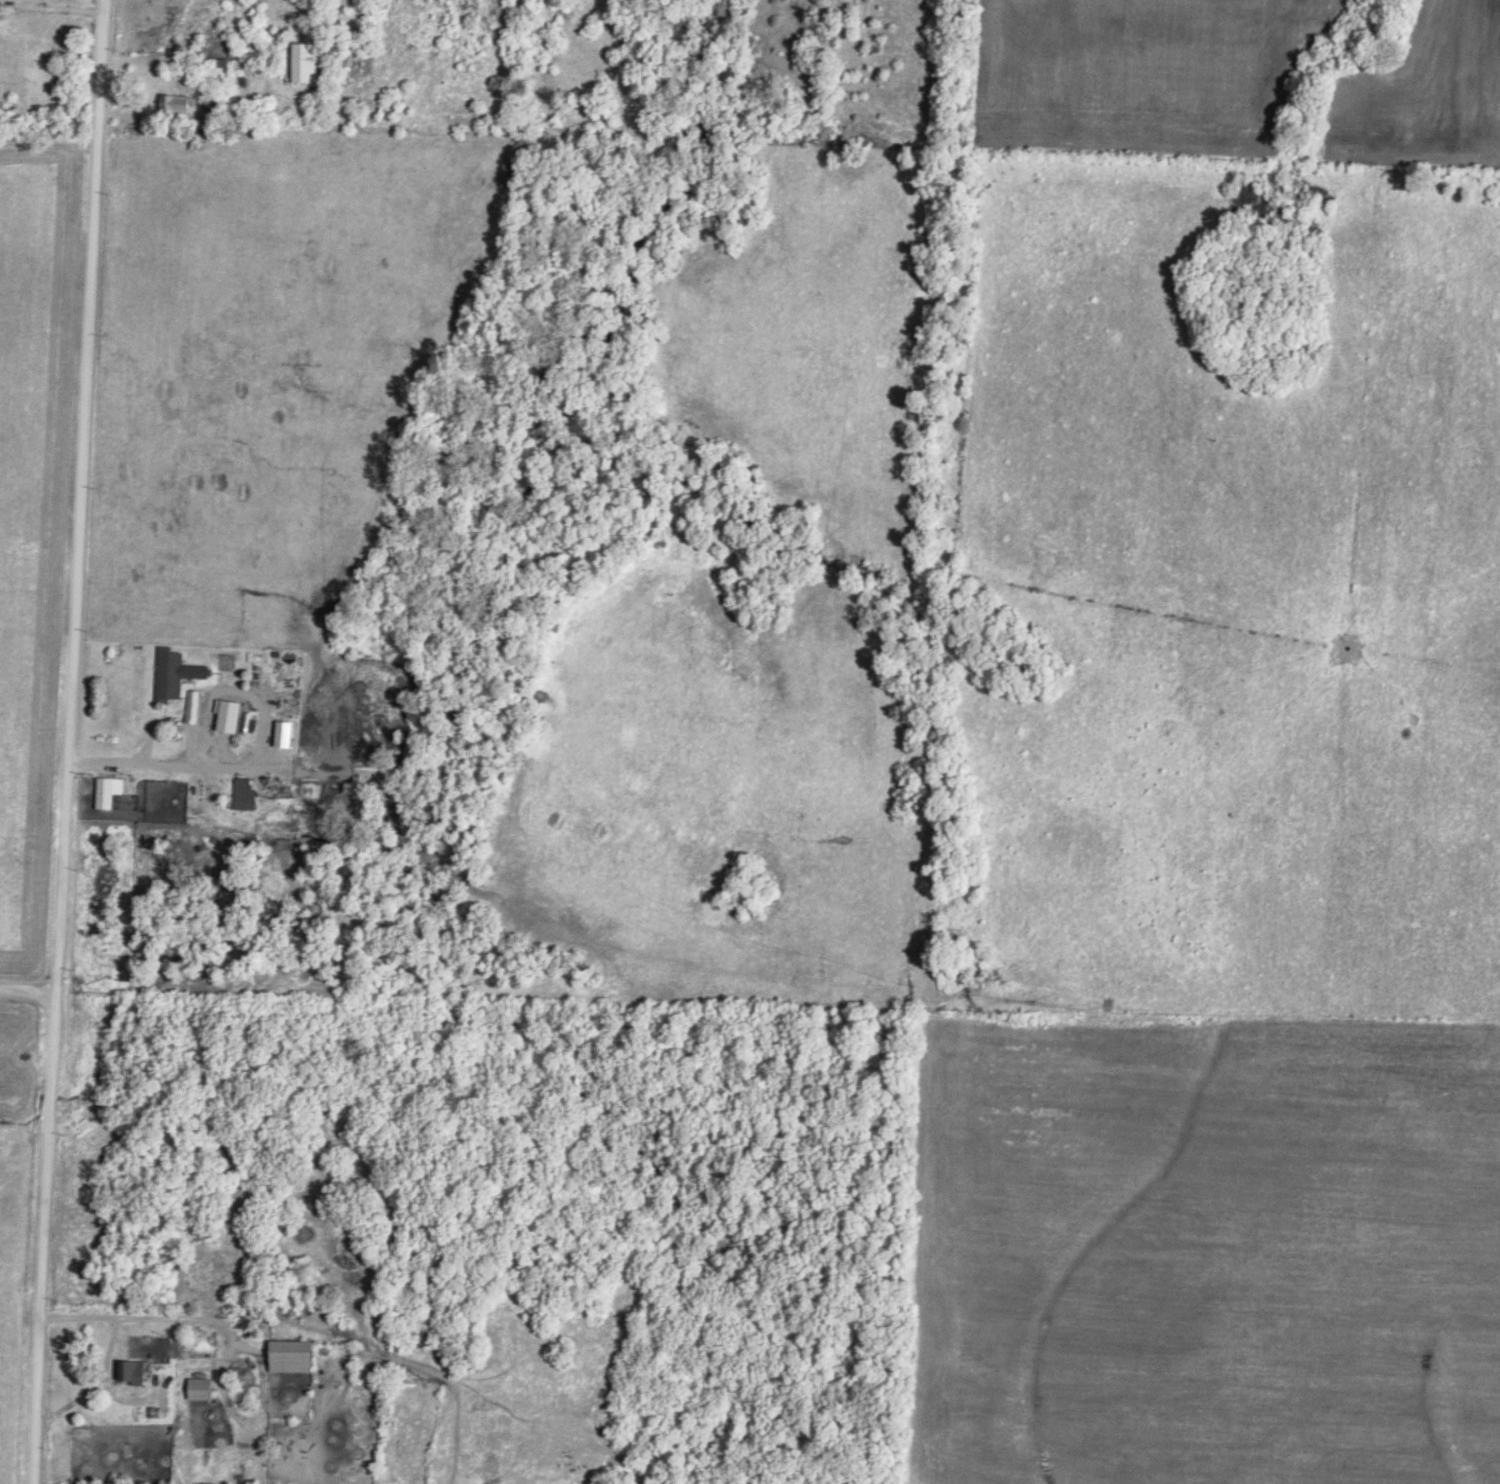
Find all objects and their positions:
road: (64, 6)
building: (306, 60)
building: (176, 101)
building: (174, 670)
building: (194, 704)
building: (228, 713)
building: (284, 732)
road: (67, 741)
road: (176, 766)
building: (108, 789)
building: (243, 791)
road: (27, 990)
road: (156, 1316)
building: (292, 1353)
building: (132, 1370)
building: (200, 1386)

